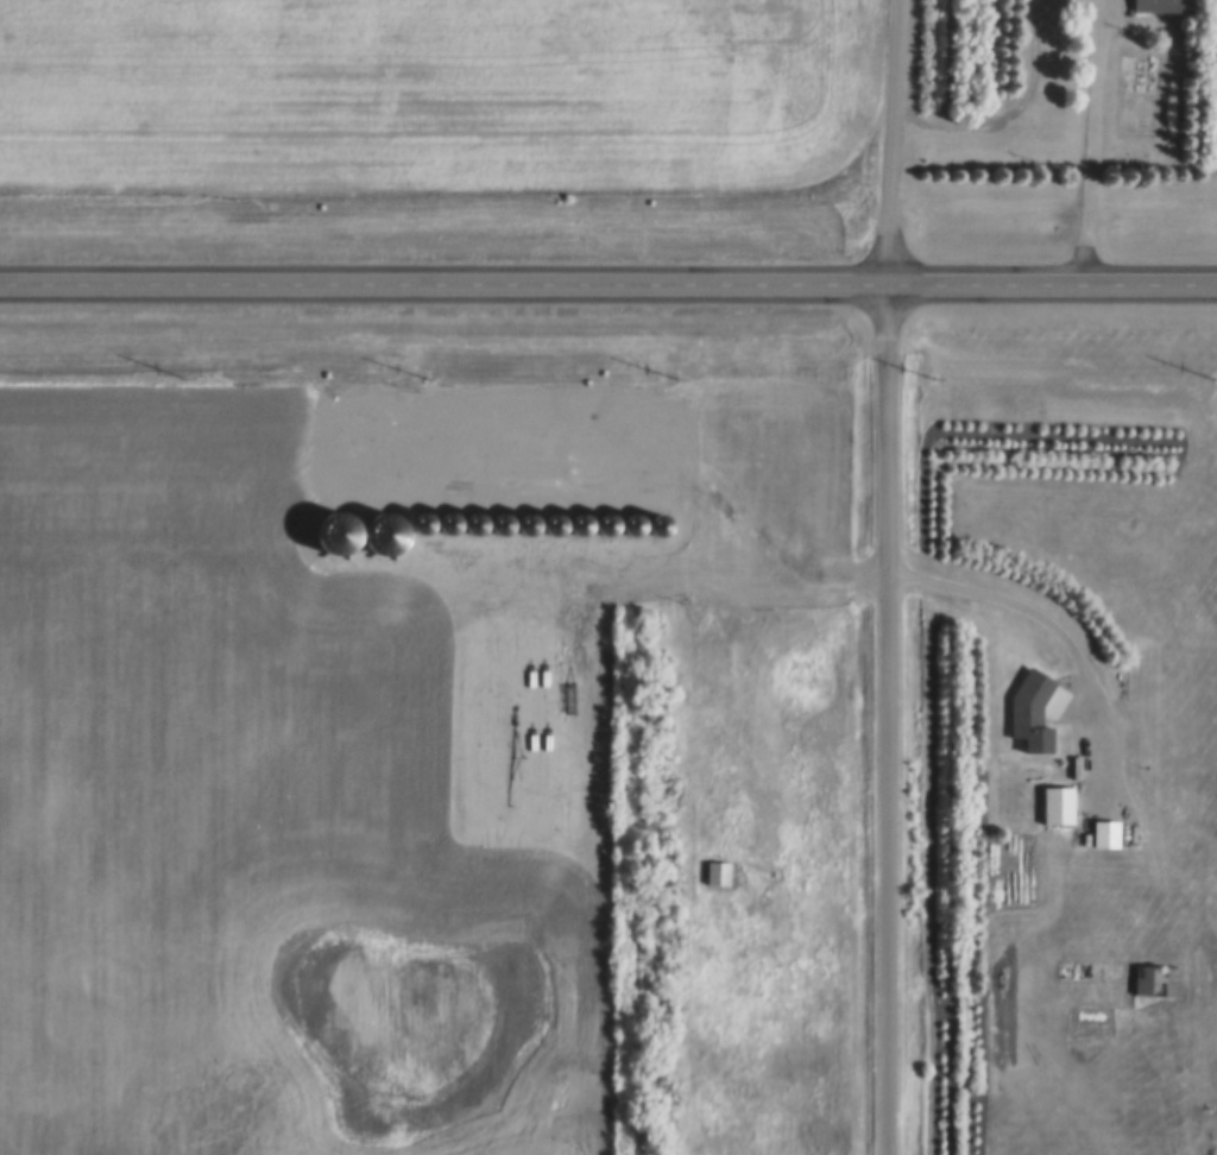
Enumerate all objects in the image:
building: (1160, 4)
road: (1093, 141)
road: (608, 283)
building: (553, 519)
silo: (553, 519)
building: (579, 519)
silo: (579, 519)
building: (605, 519)
silo: (605, 519)
building: (632, 519)
silo: (632, 519)
building: (660, 519)
silo: (660, 519)
building: (423, 520)
silo: (423, 520)
building: (449, 520)
silo: (449, 520)
building: (474, 520)
silo: (474, 520)
building: (500, 520)
silo: (500, 520)
building: (526, 520)
silo: (526, 520)
road: (887, 576)
road: (1061, 637)
road: (752, 673)
building: (1029, 708)
building: (1058, 802)
building: (1104, 831)
building: (718, 872)
building: (1154, 978)

